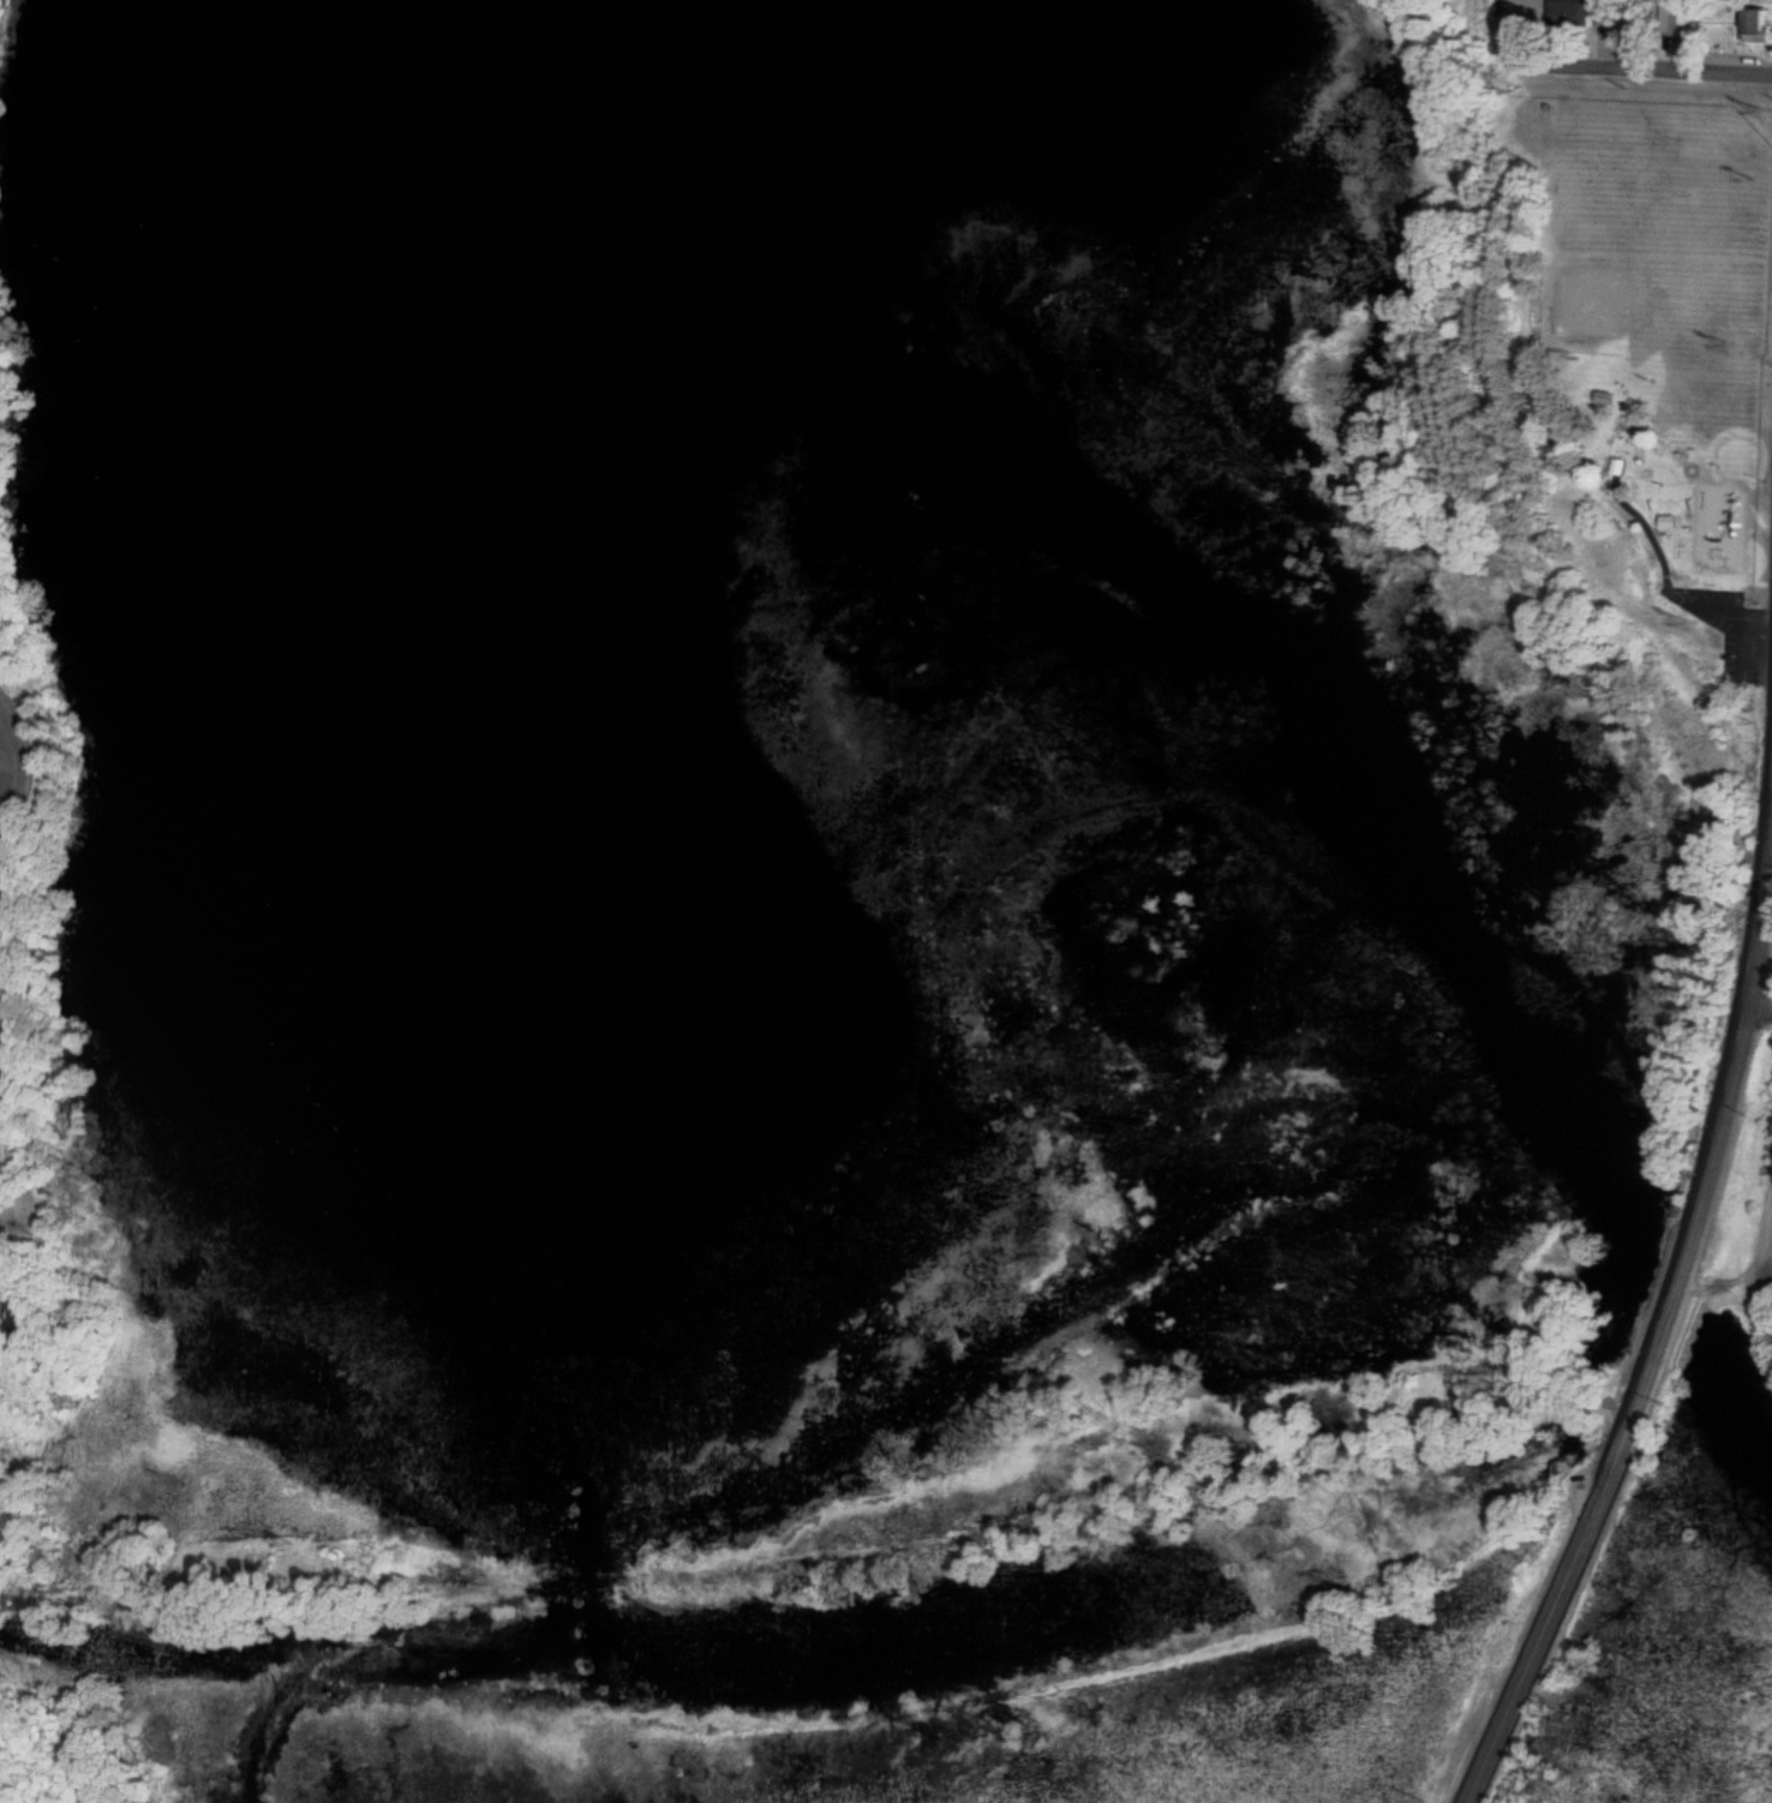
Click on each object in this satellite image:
building: (1579, 16)
building: (1675, 17)
road: (1498, 26)
building: (1755, 26)
road: (1639, 72)
park: (1642, 361)
road: (1761, 917)
river: (1457, 954)
road: (1758, 1017)
river: (1675, 1304)
river: (1735, 1404)
road: (1629, 1418)

